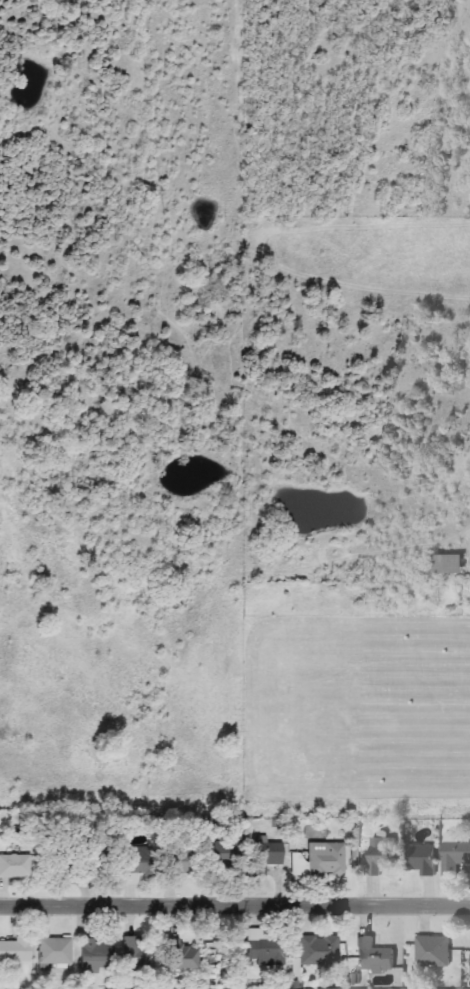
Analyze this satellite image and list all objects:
building: (445, 565)
building: (219, 852)
building: (262, 855)
building: (376, 855)
building: (454, 855)
building: (324, 859)
building: (419, 859)
building: (173, 861)
building: (130, 862)
building: (14, 866)
building: (72, 866)
road: (235, 905)
building: (262, 948)
building: (316, 950)
building: (14, 951)
building: (53, 951)
building: (431, 951)
building: (134, 954)
building: (94, 955)
building: (177, 955)
building: (371, 956)
building: (220, 957)

